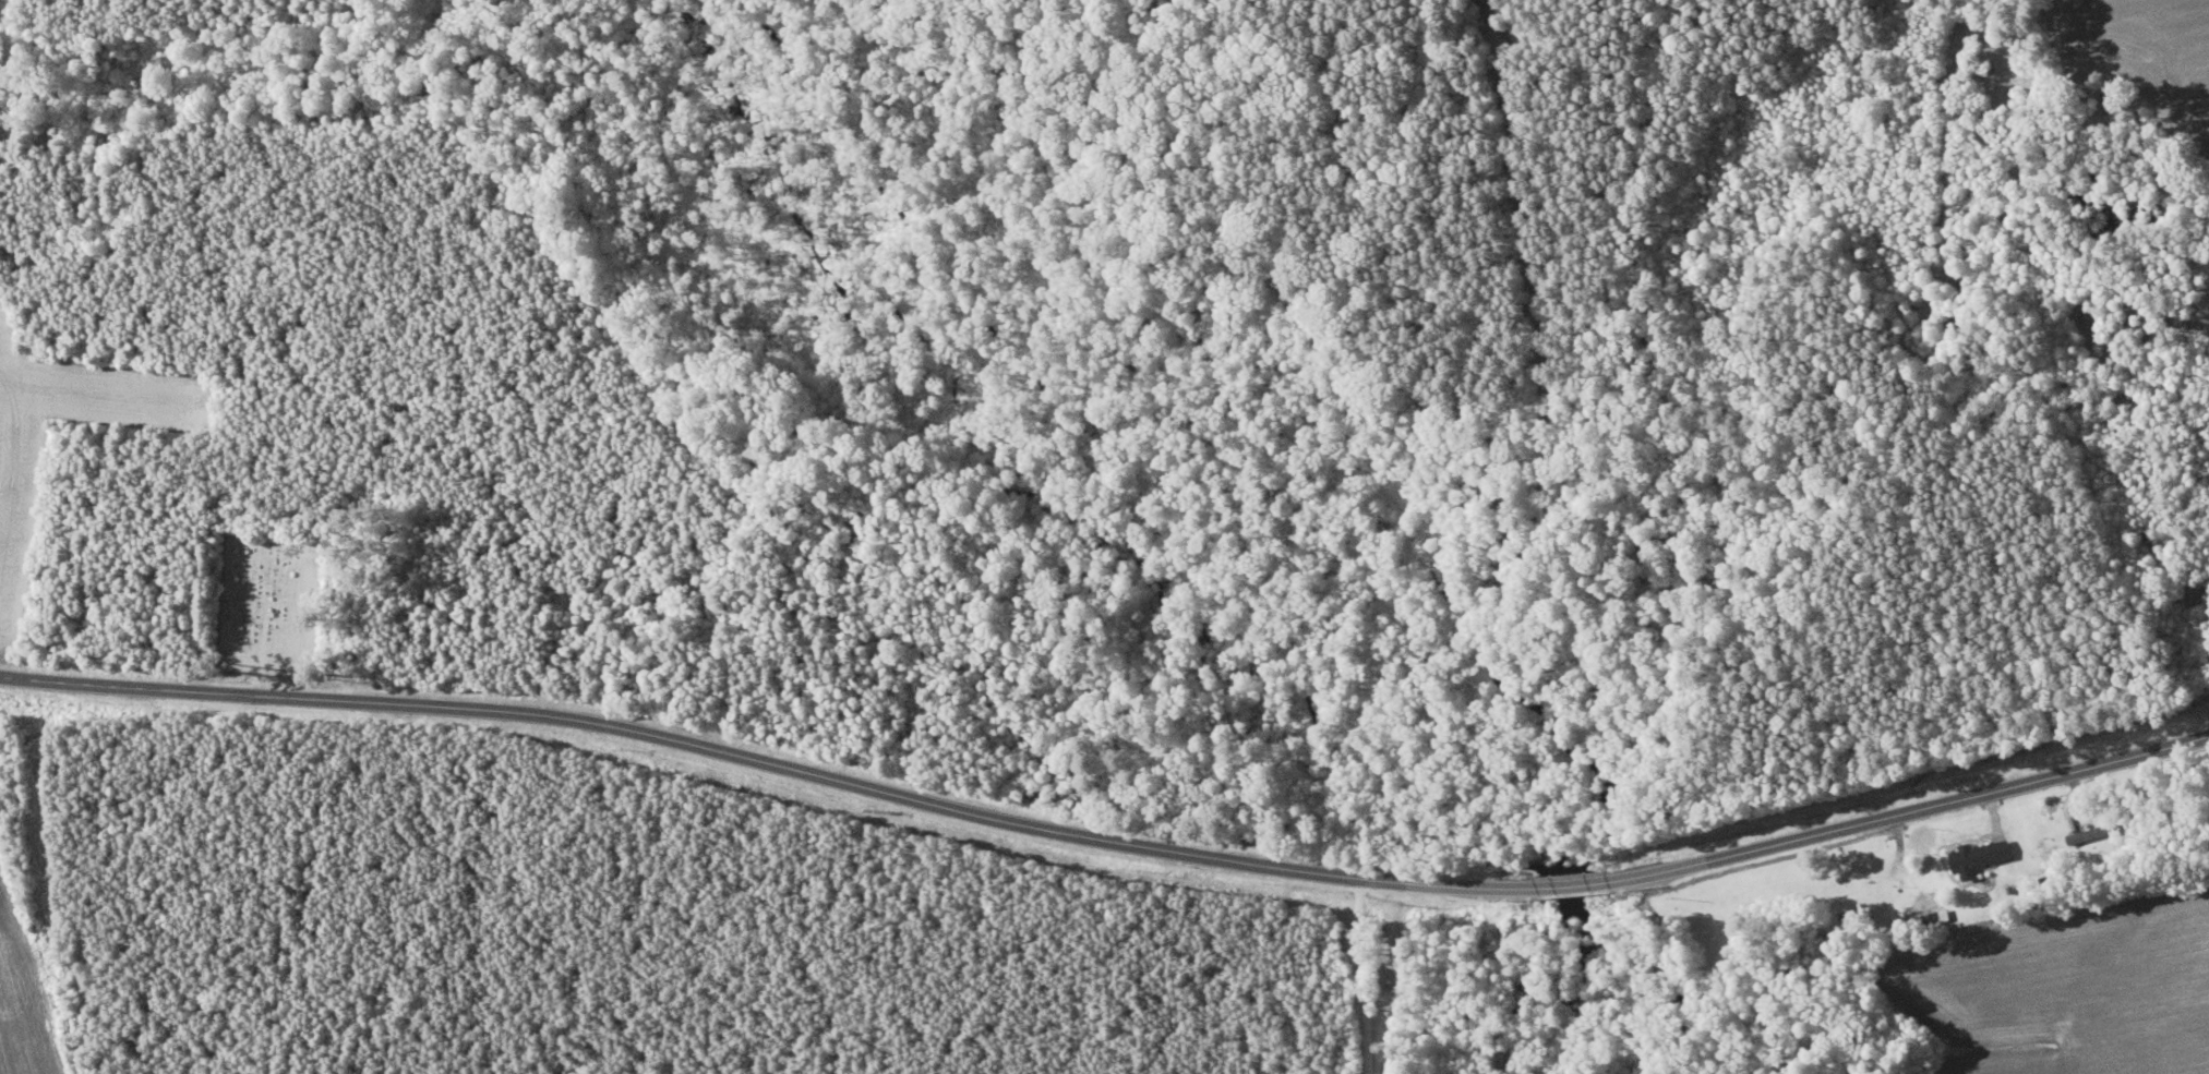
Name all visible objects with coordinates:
building: (2082, 831)
road: (1105, 834)
building: (1981, 855)
road: (1360, 974)

